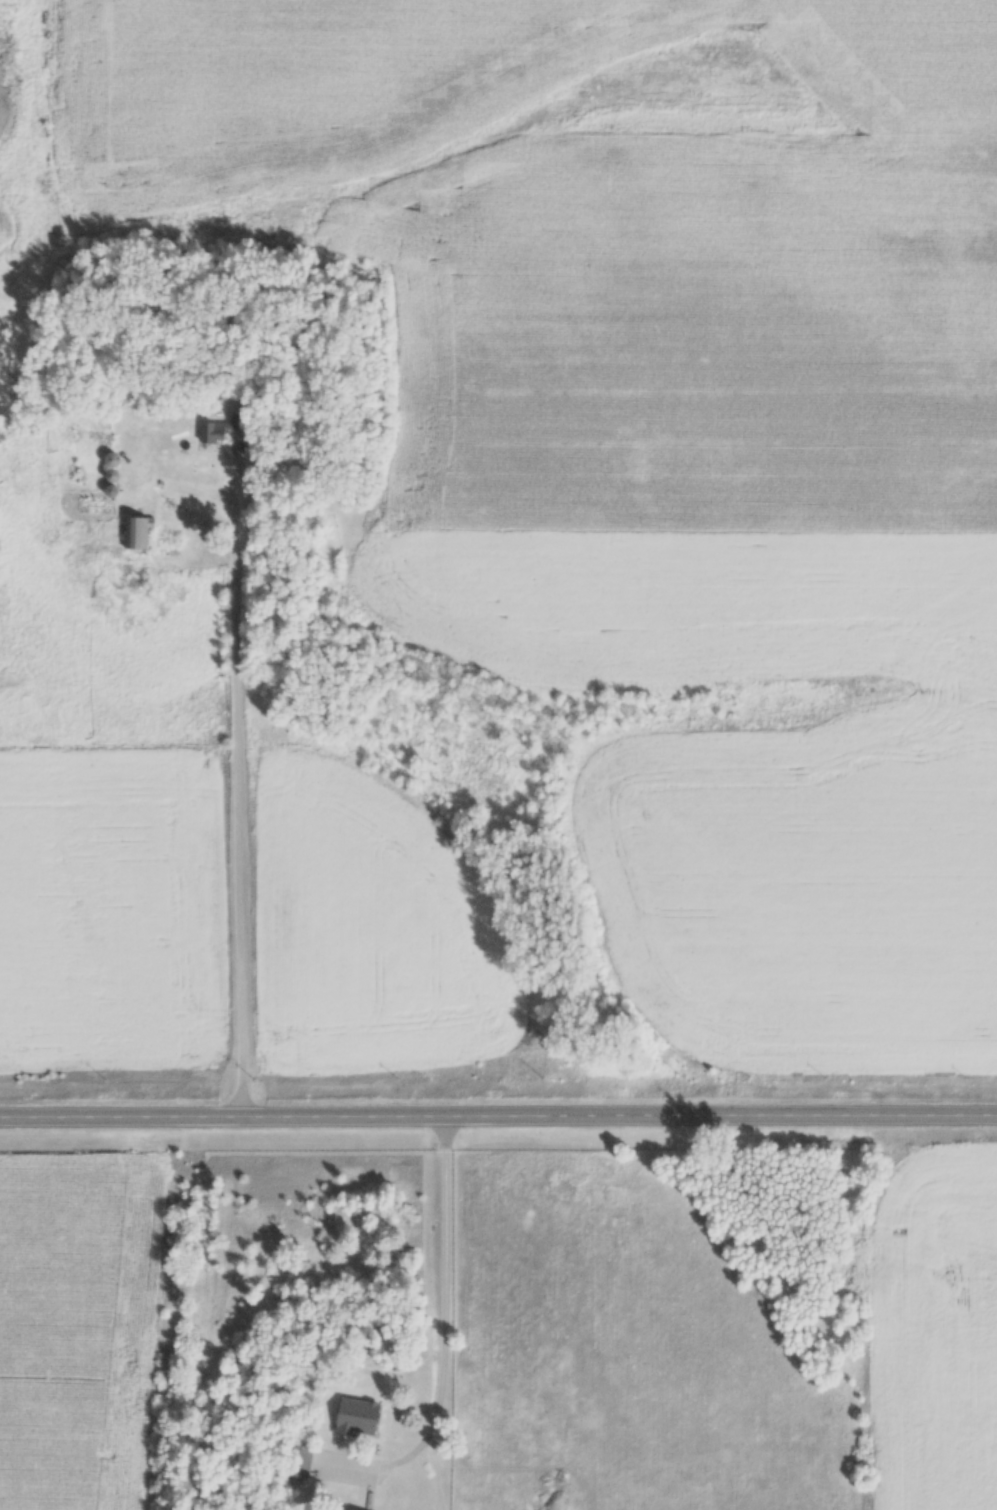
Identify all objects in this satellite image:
building: (219, 429)
building: (113, 460)
building: (137, 533)
road: (238, 780)
road: (498, 1112)
road: (444, 1318)
building: (359, 1416)
building: (303, 1461)
building: (340, 1509)

